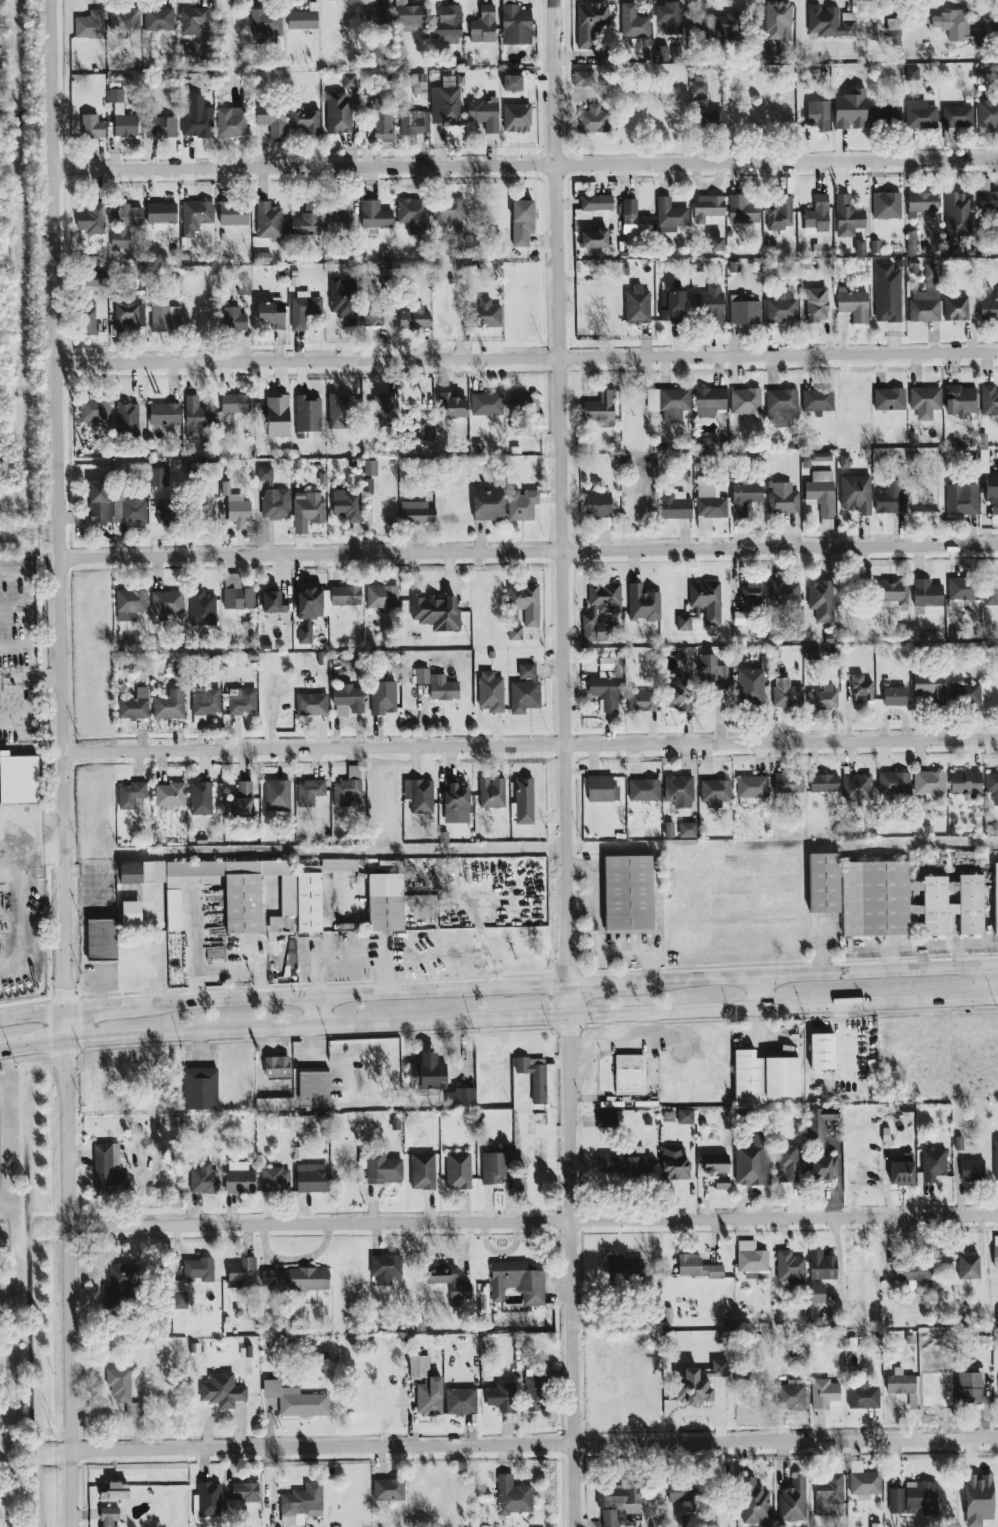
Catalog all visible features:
building: (409, 14)
building: (374, 15)
building: (669, 17)
building: (158, 18)
building: (302, 19)
building: (192, 20)
building: (125, 21)
building: (830, 21)
building: (633, 22)
building: (90, 24)
building: (266, 24)
building: (447, 24)
building: (483, 25)
building: (516, 25)
building: (591, 27)
building: (725, 27)
building: (776, 27)
building: (958, 27)
building: (884, 28)
building: (912, 73)
building: (584, 78)
building: (349, 80)
building: (512, 82)
building: (419, 83)
building: (698, 94)
building: (445, 103)
building: (850, 110)
building: (484, 114)
building: (885, 114)
building: (920, 114)
building: (121, 115)
building: (987, 115)
building: (819, 116)
building: (958, 116)
building: (517, 117)
building: (196, 118)
building: (272, 118)
building: (304, 119)
building: (593, 119)
building: (230, 121)
building: (414, 122)
building: (382, 125)
building: (92, 126)
building: (160, 126)
building: (997, 135)
road: (526, 163)
building: (997, 192)
building: (987, 197)
building: (922, 201)
building: (596, 202)
building: (887, 205)
building: (707, 207)
building: (742, 209)
building: (449, 210)
building: (233, 213)
building: (780, 213)
building: (161, 214)
building: (374, 214)
building: (413, 214)
building: (196, 215)
building: (670, 215)
building: (817, 215)
building: (957, 216)
building: (848, 217)
building: (633, 218)
building: (92, 219)
building: (308, 219)
building: (268, 220)
building: (337, 221)
building: (522, 222)
building: (126, 225)
building: (595, 237)
building: (911, 241)
building: (716, 243)
building: (94, 283)
building: (244, 286)
building: (887, 292)
building: (926, 298)
building: (997, 298)
building: (344, 299)
building: (710, 304)
building: (817, 304)
building: (853, 304)
building: (637, 305)
building: (672, 306)
building: (304, 308)
building: (781, 308)
building: (956, 308)
building: (988, 308)
building: (744, 310)
building: (129, 312)
building: (488, 313)
building: (373, 314)
building: (165, 315)
building: (272, 315)
building: (89, 317)
building: (413, 318)
building: (234, 319)
road: (528, 358)
building: (889, 398)
building: (989, 399)
building: (745, 400)
building: (818, 400)
building: (961, 400)
building: (709, 401)
building: (925, 401)
building: (669, 402)
building: (236, 403)
building: (487, 404)
building: (997, 405)
building: (451, 406)
building: (526, 407)
building: (781, 407)
building: (383, 409)
building: (599, 409)
building: (95, 410)
building: (340, 411)
building: (308, 413)
building: (165, 414)
building: (198, 416)
building: (277, 416)
building: (128, 418)
building: (417, 425)
building: (710, 442)
building: (370, 468)
building: (265, 473)
building: (159, 477)
building: (997, 484)
building: (992, 490)
building: (821, 492)
building: (856, 493)
building: (745, 497)
building: (710, 498)
building: (890, 498)
building: (783, 499)
building: (962, 499)
building: (100, 501)
building: (275, 503)
building: (347, 504)
building: (488, 504)
building: (522, 504)
building: (673, 505)
building: (234, 506)
building: (129, 507)
building: (308, 507)
building: (599, 507)
building: (167, 511)
building: (417, 512)
road: (529, 552)
building: (997, 582)
building: (891, 590)
building: (784, 591)
building: (960, 591)
building: (753, 592)
building: (237, 593)
building: (927, 593)
building: (990, 593)
building: (345, 595)
building: (381, 596)
building: (821, 600)
building: (273, 602)
building: (525, 602)
building: (167, 603)
building: (643, 603)
building: (130, 604)
building: (701, 604)
building: (202, 608)
road: (26, 610)
building: (436, 611)
building: (600, 611)
building: (308, 612)
building: (740, 617)
parking lot: (18, 646)
building: (812, 652)
building: (711, 673)
road: (31, 677)
building: (437, 684)
building: (605, 685)
building: (750, 685)
building: (930, 686)
building: (861, 688)
building: (674, 689)
building: (524, 690)
building: (491, 691)
building: (787, 693)
building: (964, 693)
building: (894, 696)
building: (383, 697)
building: (823, 697)
building: (242, 700)
building: (348, 700)
building: (205, 701)
building: (642, 701)
building: (169, 704)
building: (312, 704)
building: (134, 705)
road: (14, 718)
road: (531, 745)
road: (65, 763)
road: (569, 763)
building: (17, 780)
building: (895, 782)
building: (929, 782)
building: (966, 782)
building: (788, 783)
building: (824, 783)
building: (992, 785)
building: (857, 786)
building: (347, 787)
building: (602, 788)
building: (752, 788)
building: (644, 789)
building: (309, 791)
building: (679, 791)
building: (492, 792)
building: (715, 792)
building: (131, 794)
building: (170, 794)
building: (277, 794)
building: (419, 795)
building: (997, 796)
building: (200, 798)
building: (242, 798)
building: (524, 800)
building: (455, 802)
road: (21, 814)
road: (54, 817)
building: (687, 828)
road: (45, 853)
building: (339, 864)
building: (823, 883)
building: (628, 893)
building: (995, 896)
building: (243, 899)
building: (905, 900)
building: (310, 901)
road: (27, 903)
building: (130, 912)
building: (386, 912)
building: (101, 939)
building: (291, 960)
road: (818, 973)
road: (984, 983)
road: (605, 985)
road: (762, 992)
road: (358, 995)
road: (106, 1006)
road: (784, 1008)
road: (33, 1013)
road: (315, 1013)
road: (526, 1020)
road: (273, 1030)
road: (33, 1045)
building: (823, 1050)
building: (277, 1067)
building: (427, 1073)
building: (629, 1074)
building: (764, 1076)
building: (534, 1078)
building: (201, 1088)
building: (313, 1088)
building: (460, 1098)
building: (274, 1104)
building: (685, 1116)
building: (607, 1119)
building: (819, 1124)
building: (997, 1140)
building: (753, 1161)
building: (789, 1162)
building: (674, 1163)
building: (714, 1163)
building: (933, 1164)
building: (496, 1165)
building: (823, 1167)
building: (383, 1169)
building: (902, 1169)
building: (109, 1170)
building: (423, 1170)
building: (458, 1170)
building: (972, 1170)
building: (239, 1177)
building: (203, 1178)
building: (311, 1178)
building: (276, 1179)
building: (722, 1181)
road: (534, 1224)
building: (997, 1243)
building: (751, 1257)
building: (617, 1263)
building: (822, 1265)
building: (968, 1265)
building: (696, 1266)
building: (790, 1267)
building: (384, 1268)
building: (242, 1273)
building: (914, 1276)
building: (191, 1278)
building: (295, 1279)
building: (518, 1280)
building: (449, 1281)
building: (121, 1285)
building: (817, 1293)
building: (697, 1382)
building: (900, 1382)
building: (426, 1387)
building: (969, 1388)
building: (222, 1390)
building: (123, 1391)
building: (824, 1392)
building: (535, 1393)
building: (792, 1395)
building: (863, 1395)
building: (501, 1397)
building: (296, 1400)
building: (460, 1401)
road: (535, 1442)
building: (863, 1481)
building: (388, 1489)
building: (115, 1491)
building: (680, 1492)
building: (243, 1494)
building: (829, 1495)
building: (513, 1496)
building: (914, 1498)
building: (978, 1498)
building: (754, 1501)
building: (793, 1501)
building: (617, 1502)
building: (207, 1503)
building: (301, 1504)
building: (109, 1517)

